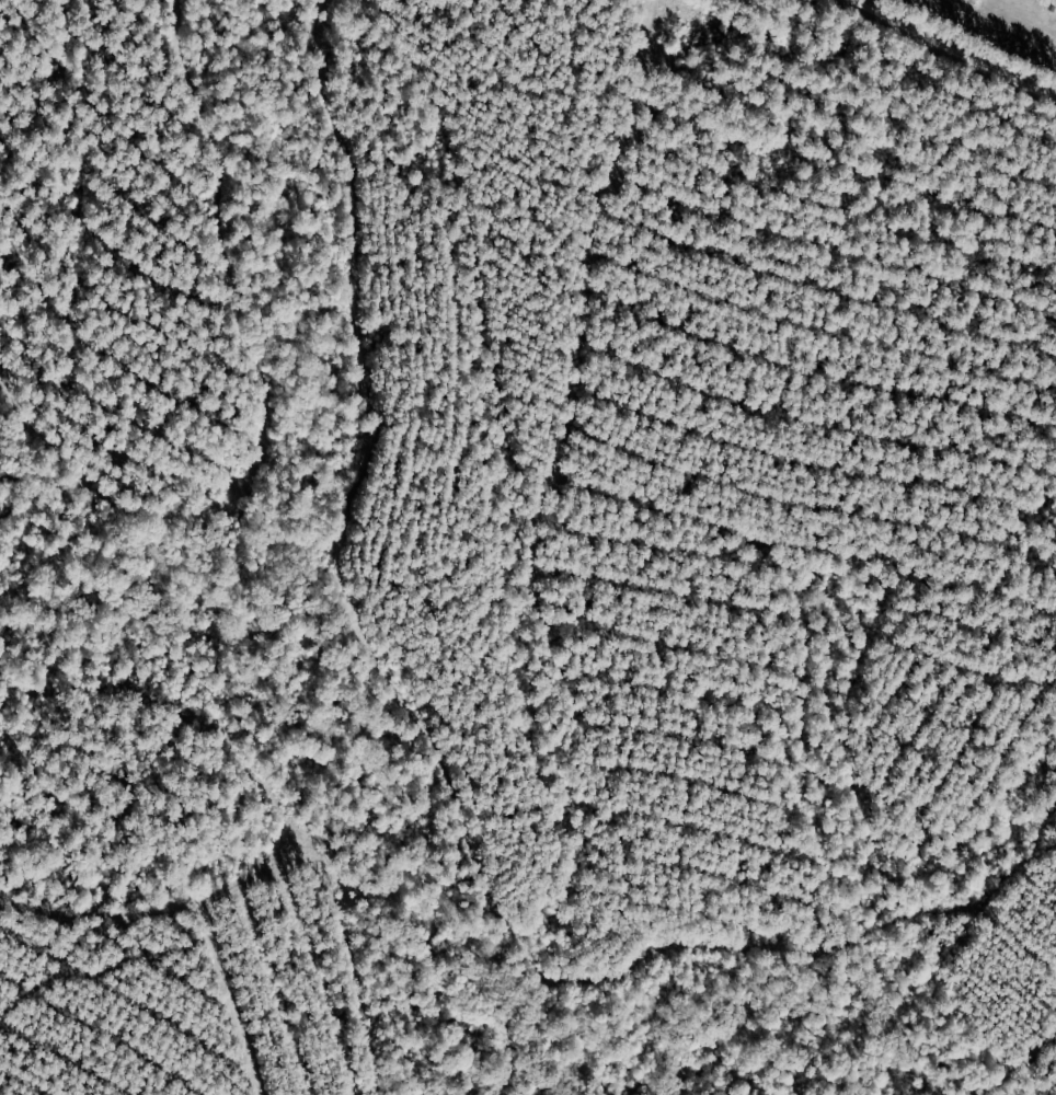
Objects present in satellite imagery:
road: (991, 28)
road: (497, 590)

